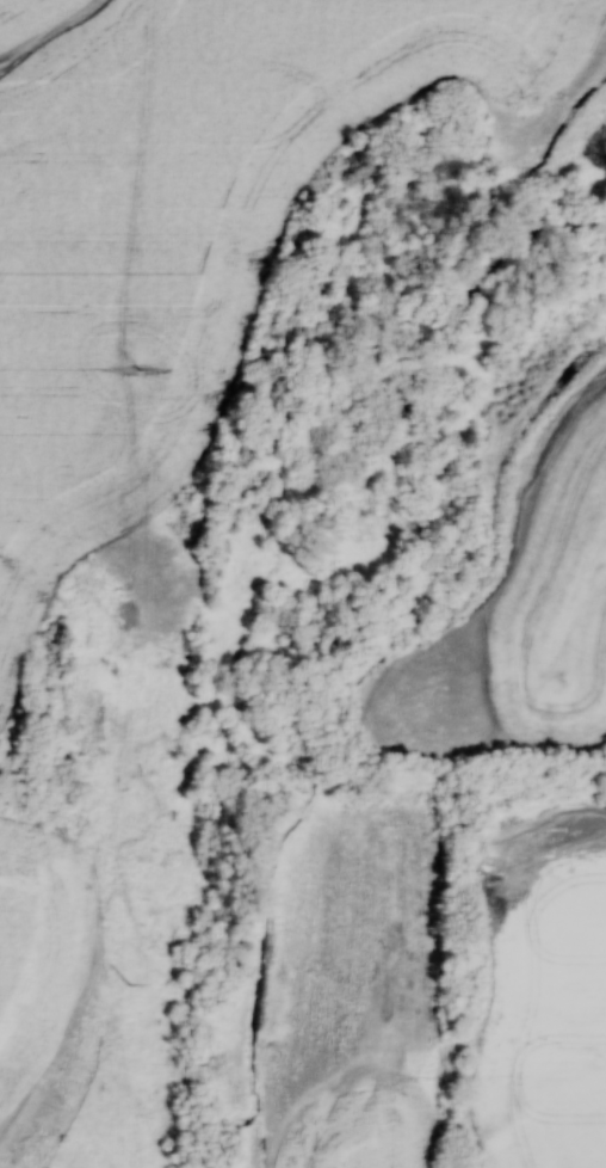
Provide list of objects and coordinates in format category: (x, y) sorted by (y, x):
power tower: (138, 374)
power tower: (126, 979)

